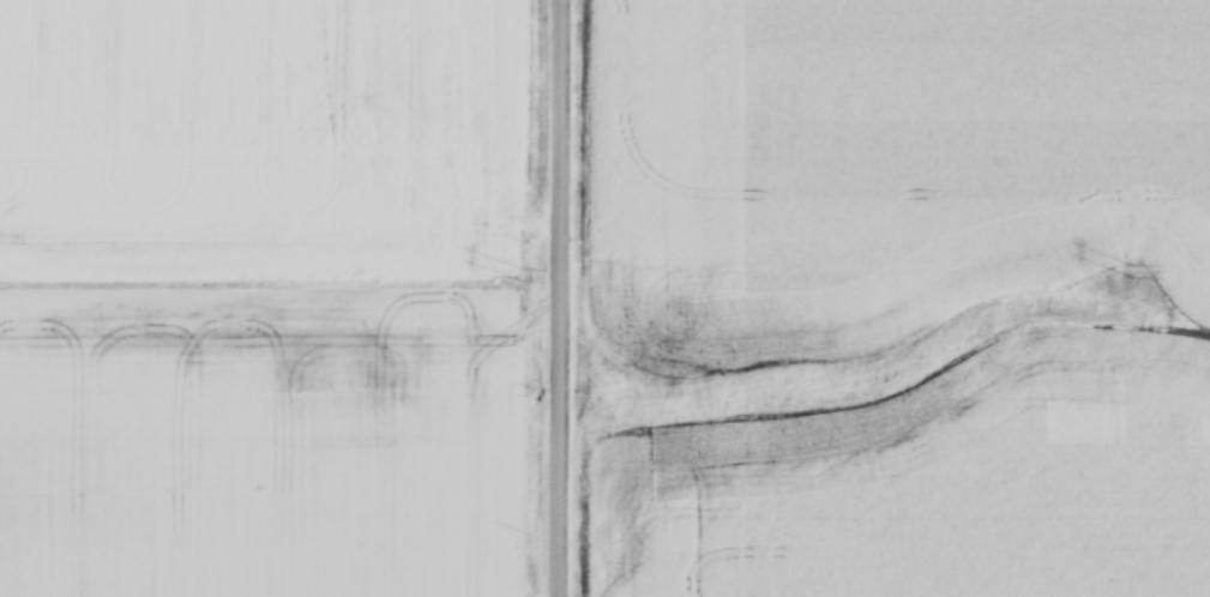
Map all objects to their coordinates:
power tower: (1126, 272)
power tower: (523, 276)
road: (559, 298)

